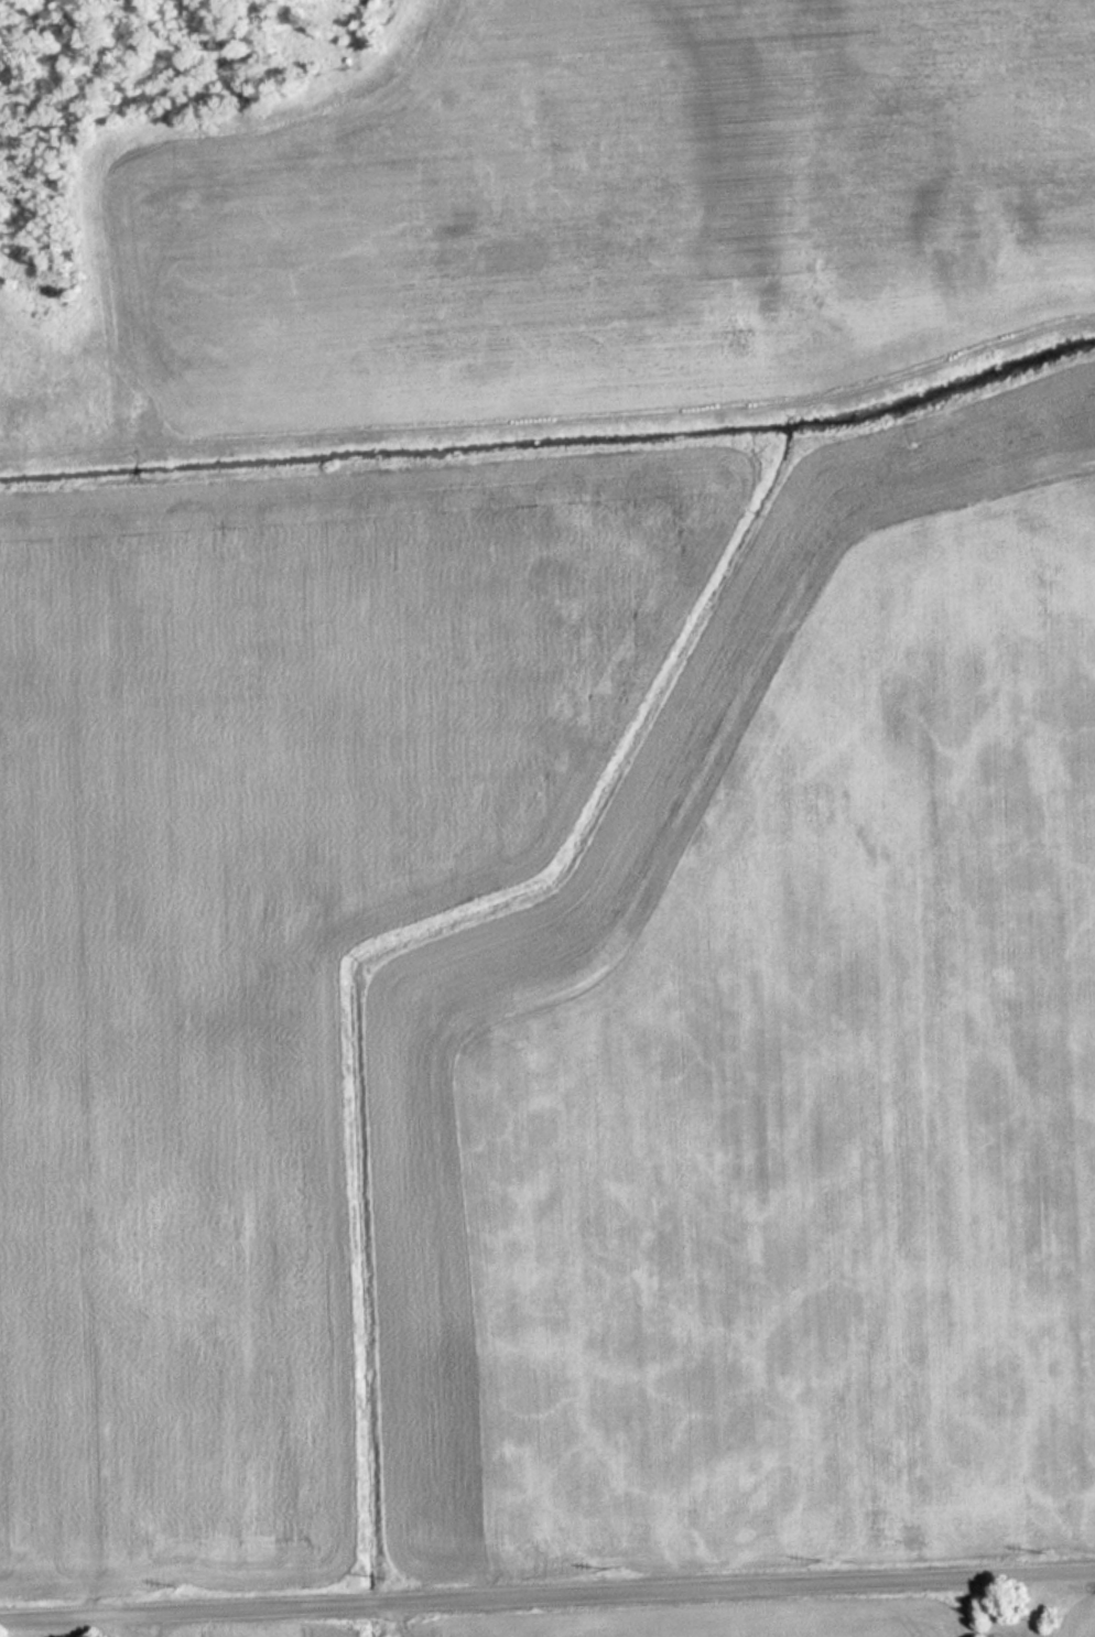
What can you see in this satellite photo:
road: (546, 1596)

